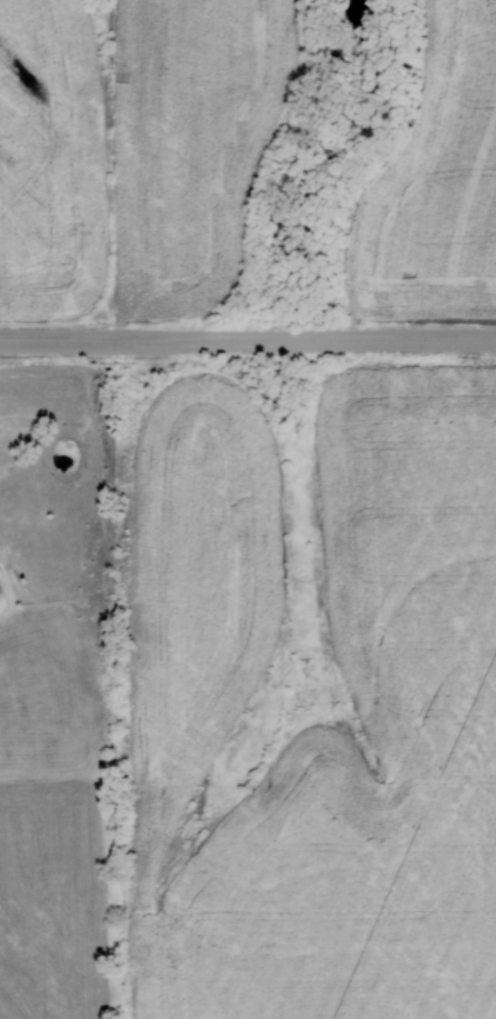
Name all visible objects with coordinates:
road: (247, 349)

